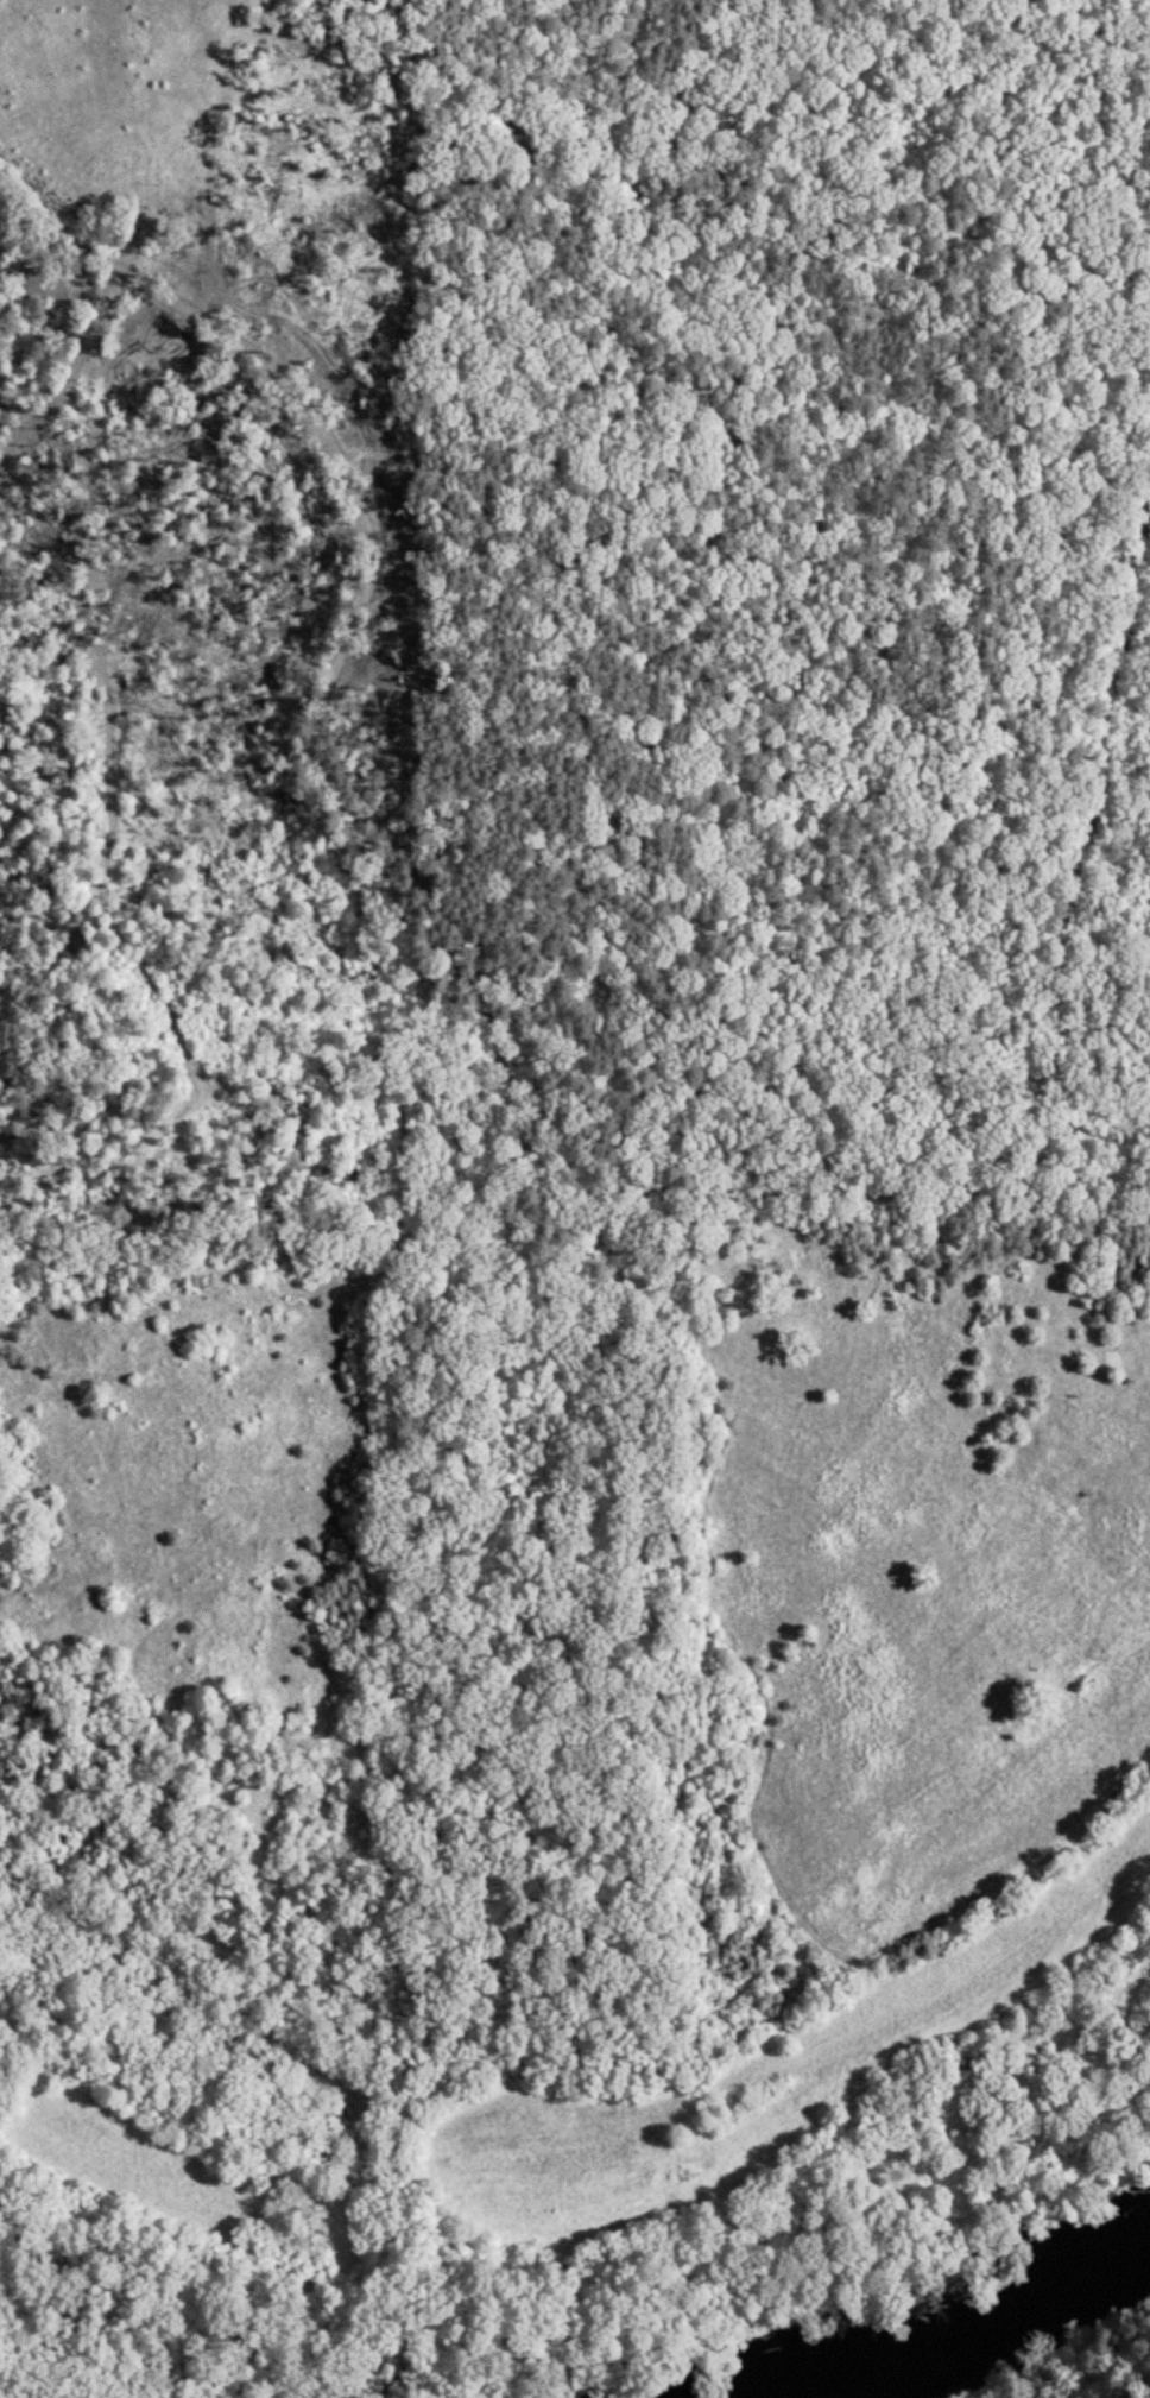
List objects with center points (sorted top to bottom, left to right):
road: (650, 454)
road: (239, 493)
road: (751, 953)
road: (266, 1230)
river: (975, 2331)

